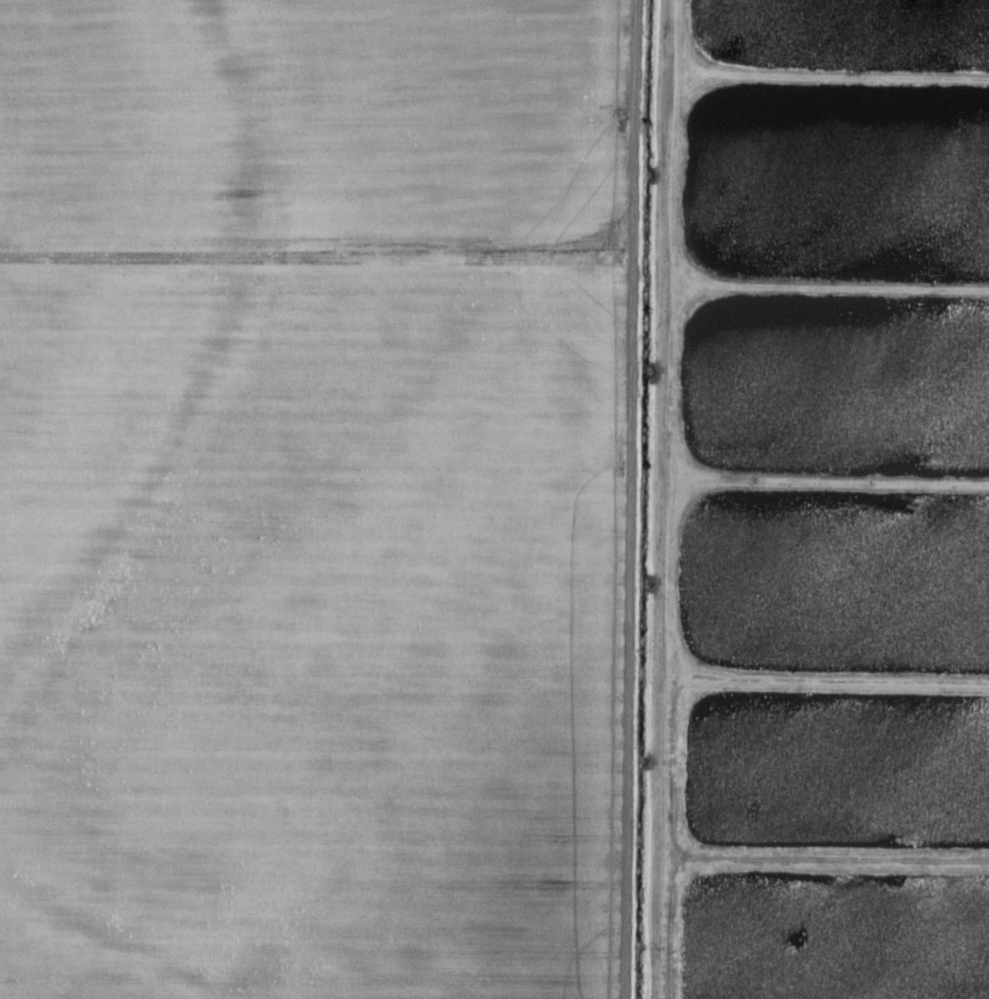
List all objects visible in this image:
road: (668, 499)

